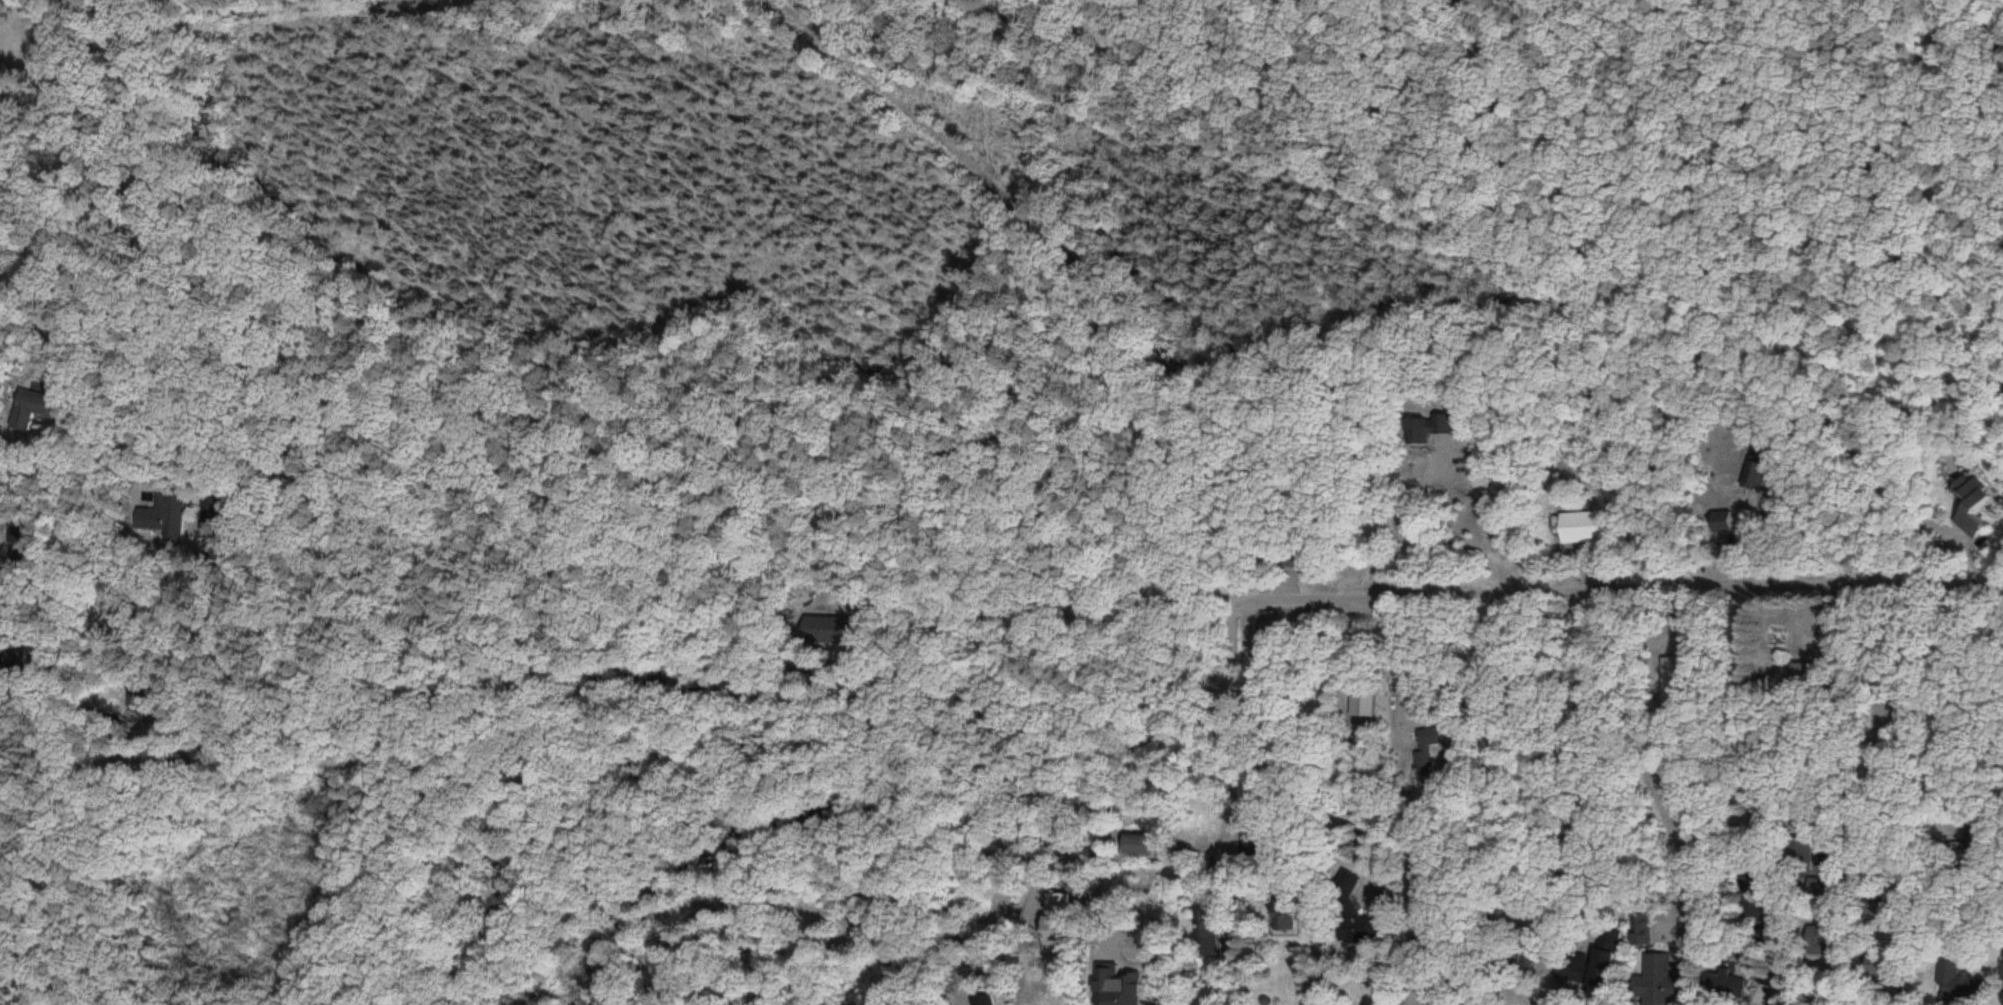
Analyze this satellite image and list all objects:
road: (96, 175)
building: (33, 404)
building: (1426, 430)
building: (1974, 508)
building: (161, 514)
building: (1582, 529)
road: (86, 540)
building: (1286, 560)
road: (1613, 588)
road: (1140, 603)
road: (198, 626)
road: (88, 701)
road: (1737, 717)
road: (1881, 720)
road: (1226, 732)
road: (1258, 741)
road: (1355, 744)
road: (1575, 749)
road: (1642, 749)
building: (1428, 754)
road: (1491, 754)
road: (1403, 770)
road: (229, 823)
road: (1941, 836)
building: (1749, 887)
building: (1752, 908)
building: (1349, 915)
building: (1642, 937)
building: (1653, 981)
building: (1958, 985)
building: (1727, 986)

